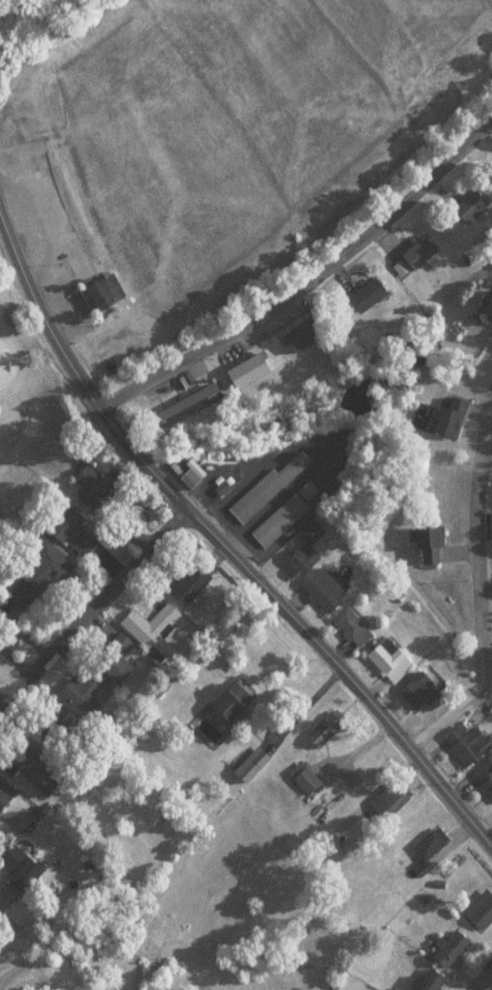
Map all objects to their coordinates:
building: (473, 206)
road: (44, 240)
building: (420, 252)
road: (303, 282)
building: (105, 293)
building: (369, 294)
building: (487, 304)
building: (311, 332)
building: (250, 370)
park: (24, 378)
building: (192, 403)
building: (447, 420)
building: (100, 477)
building: (191, 478)
building: (266, 489)
building: (279, 520)
building: (312, 531)
building: (78, 536)
building: (429, 544)
road: (228, 559)
building: (304, 560)
building: (40, 576)
building: (192, 583)
building: (325, 588)
road: (92, 603)
road: (477, 603)
building: (352, 626)
building: (152, 629)
building: (389, 658)
building: (116, 667)
building: (422, 686)
building: (86, 694)
building: (237, 701)
building: (325, 729)
building: (67, 741)
building: (468, 743)
building: (252, 764)
road: (458, 768)
building: (38, 773)
building: (305, 777)
building: (487, 780)
building: (6, 793)
building: (389, 799)
building: (429, 848)
building: (22, 870)
building: (481, 909)
building: (449, 948)
road: (482, 979)
building: (431, 981)

